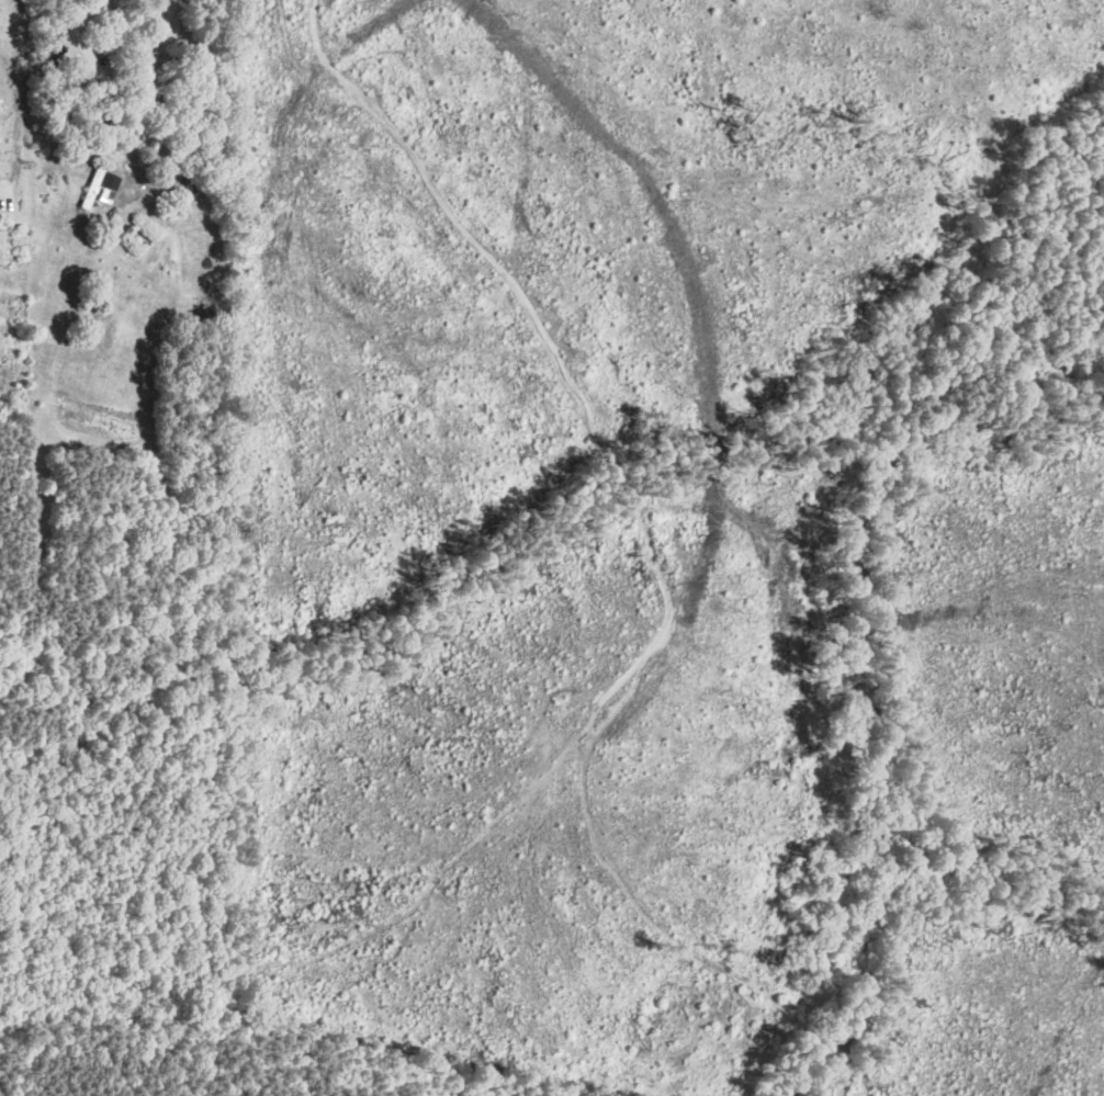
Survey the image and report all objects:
road: (147, 78)
building: (101, 188)
road: (0, 193)

